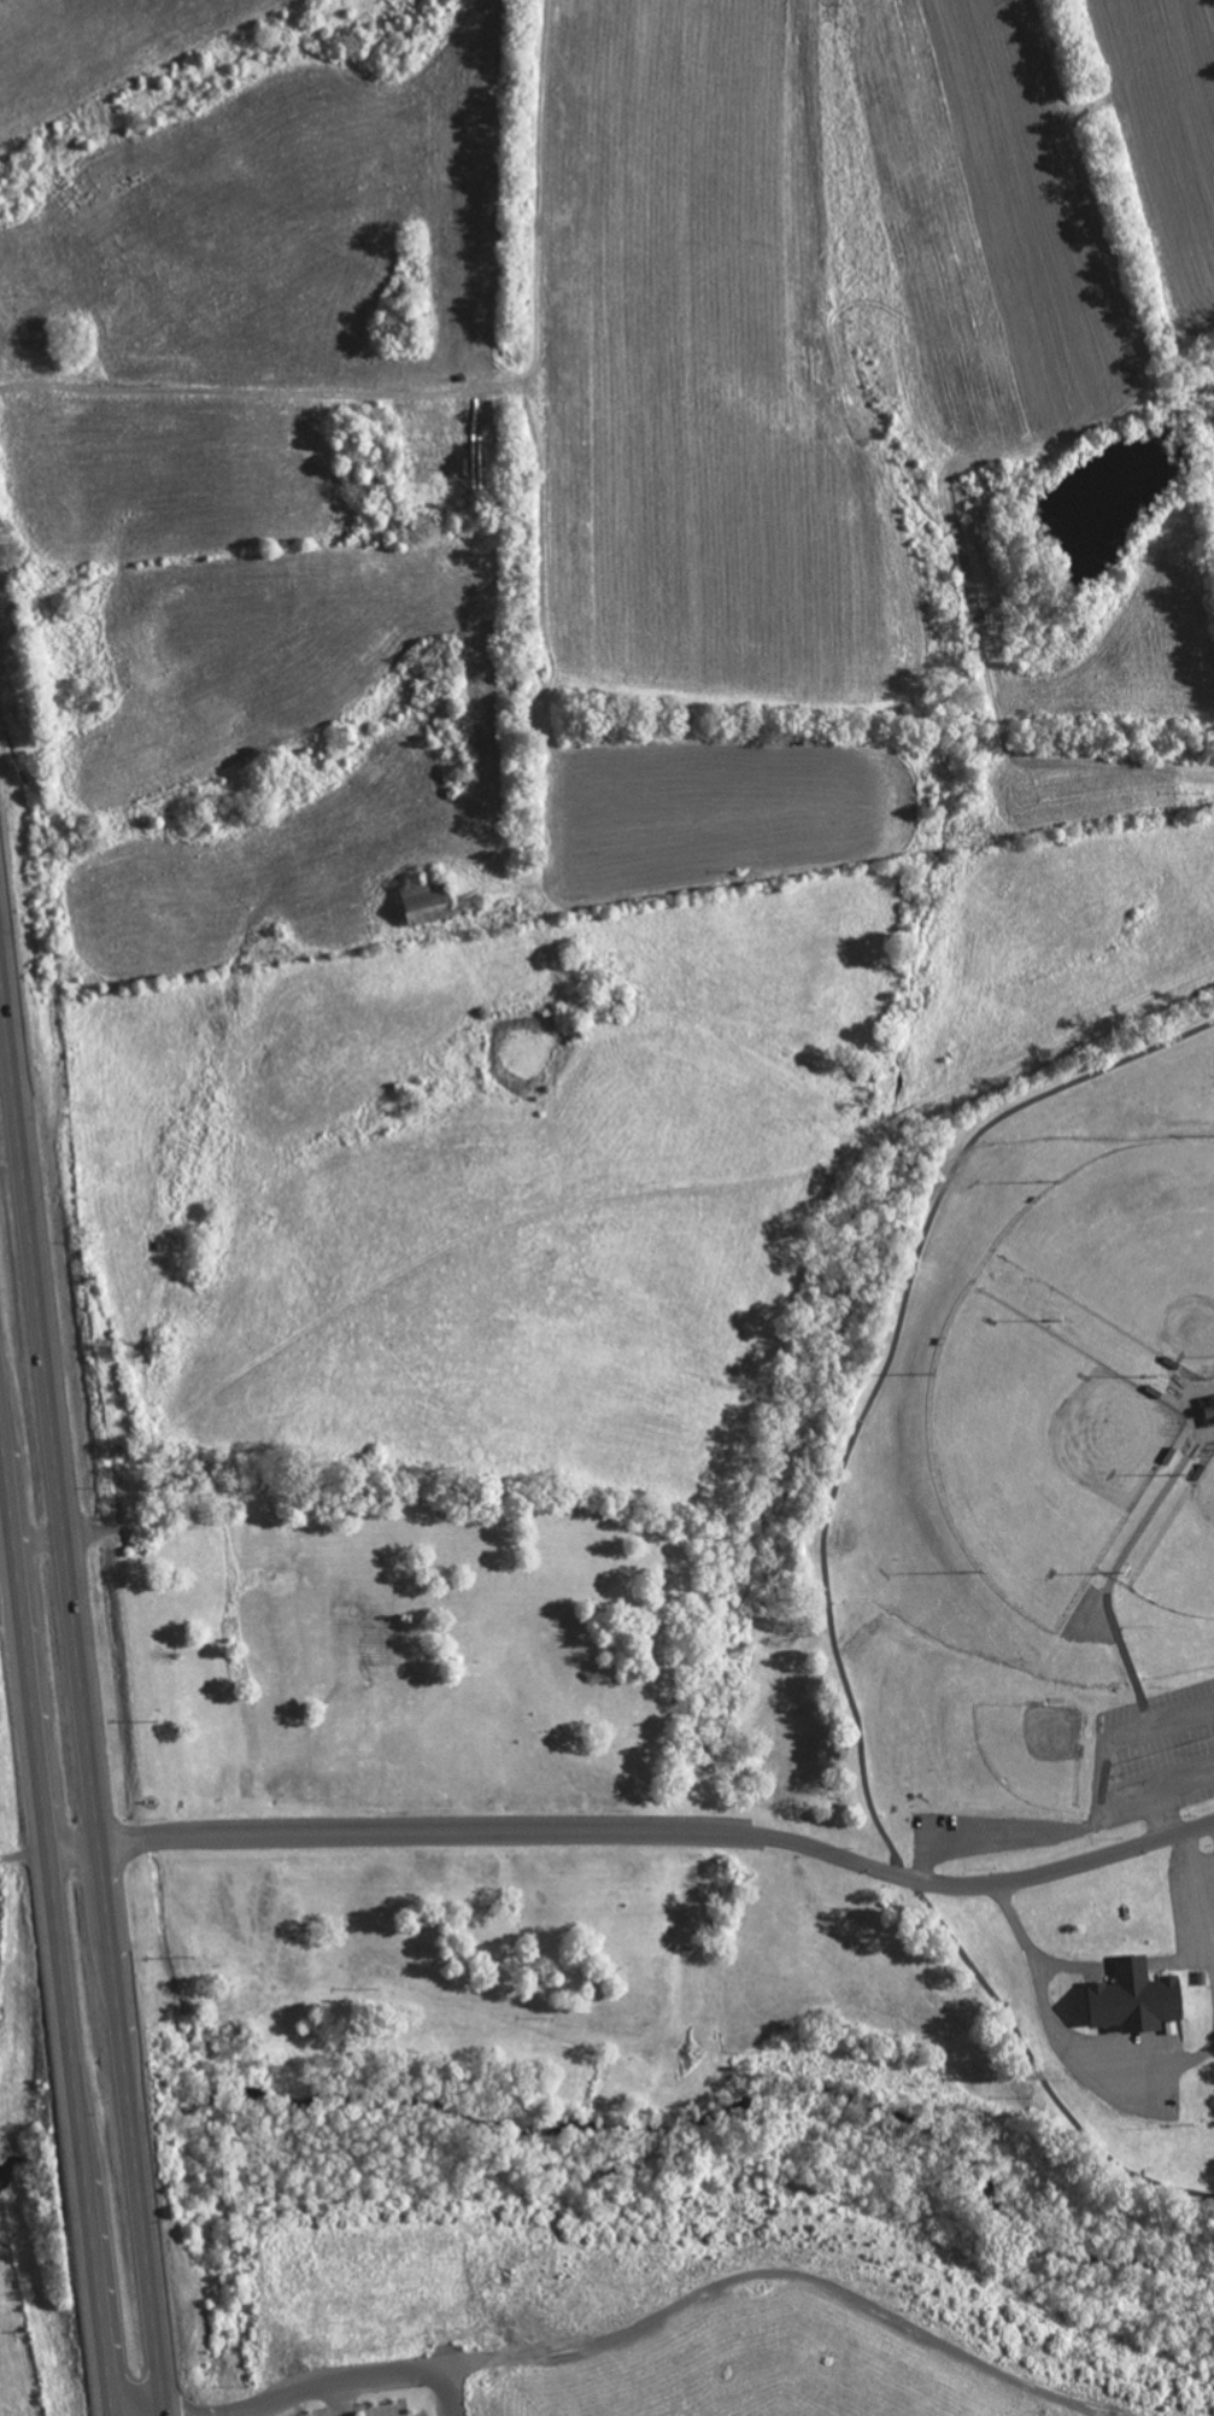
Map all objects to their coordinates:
building: (429, 900)
building: (1208, 1411)
park: (1184, 1551)
road: (827, 1595)
park: (758, 1700)
road: (83, 1704)
road: (1108, 1745)
road: (1161, 1788)
road: (639, 1829)
road: (24, 1855)
road: (1198, 1893)
parking lot: (1194, 1907)
road: (57, 1921)
road: (1034, 1952)
road: (1178, 1959)
road: (1127, 1965)
building: (1127, 1967)
building: (1128, 2003)
road: (336, 2379)
road: (448, 2389)
road: (341, 2397)

